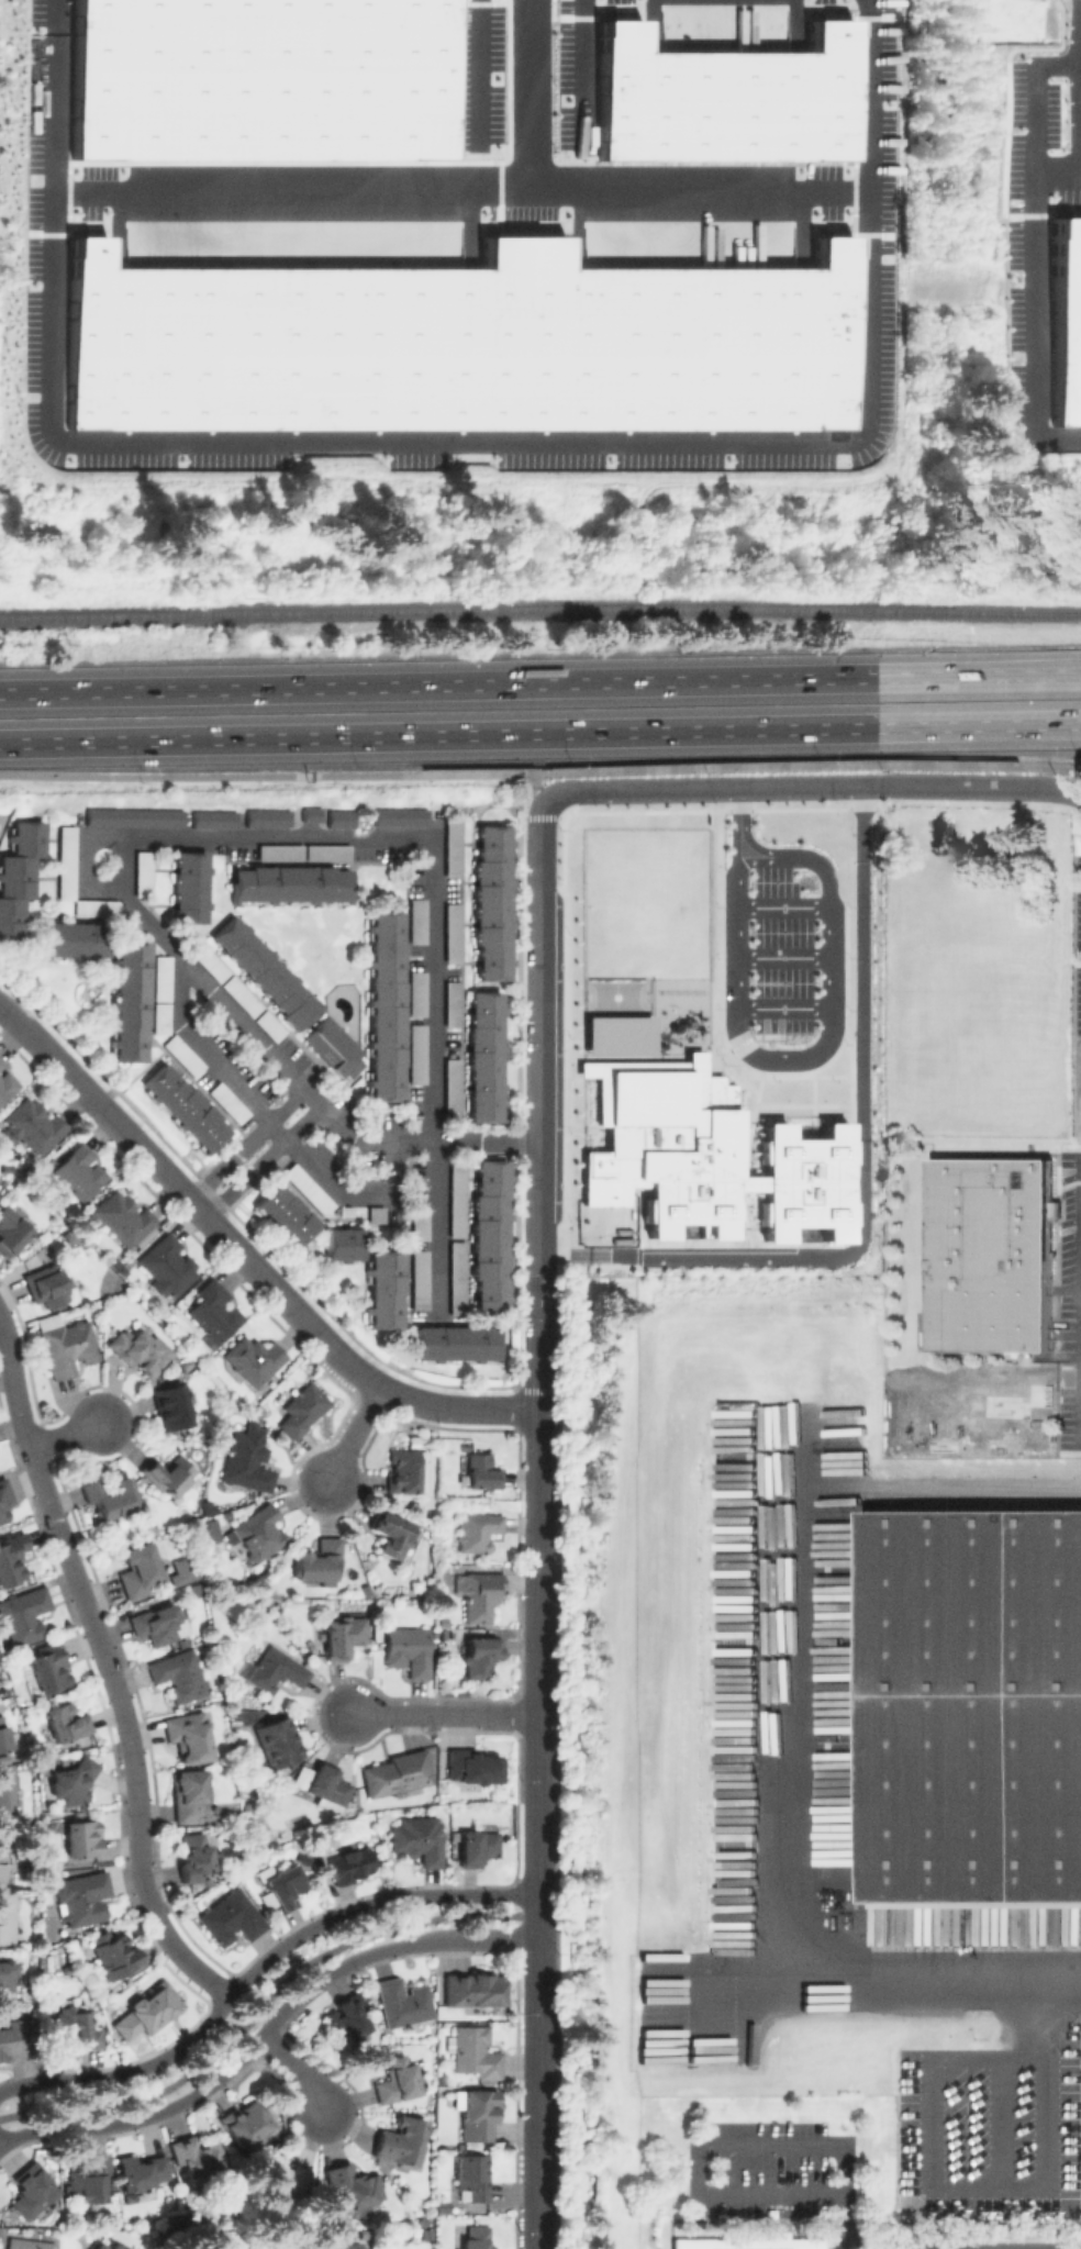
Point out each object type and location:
road: (1080, 54)
road: (479, 69)
building: (269, 82)
road: (1080, 89)
building: (735, 97)
road: (1035, 102)
road: (1080, 110)
road: (1080, 179)
road: (698, 196)
road: (388, 199)
road: (1035, 309)
building: (1066, 320)
building: (473, 342)
road: (459, 450)
railway: (539, 614)
road: (540, 681)
road: (540, 733)
road: (540, 770)
road: (969, 786)
road: (535, 787)
road: (698, 789)
road: (737, 806)
building: (309, 815)
building: (131, 817)
building: (398, 817)
building: (265, 819)
building: (212, 821)
building: (341, 822)
road: (345, 840)
building: (453, 848)
building: (327, 853)
building: (279, 854)
road: (779, 860)
building: (64, 864)
building: (15, 870)
building: (143, 876)
building: (288, 884)
building: (185, 887)
building: (490, 902)
building: (728, 905)
road: (782, 906)
building: (93, 909)
road: (151, 924)
building: (416, 924)
building: (126, 925)
building: (453, 934)
building: (605, 938)
road: (782, 957)
building: (205, 962)
building: (264, 969)
building: (160, 977)
building: (416, 992)
building: (239, 997)
park: (615, 997)
building: (450, 1001)
building: (385, 1006)
road: (783, 1006)
building: (127, 1009)
building: (805, 1009)
building: (845, 1009)
building: (157, 1018)
building: (269, 1026)
building: (616, 1034)
road: (537, 1036)
building: (335, 1047)
building: (416, 1053)
building: (484, 1054)
road: (814, 1054)
building: (181, 1055)
building: (1, 1060)
road: (278, 1062)
building: (761, 1064)
building: (826, 1064)
building: (8, 1088)
building: (452, 1089)
building: (227, 1102)
building: (182, 1109)
building: (32, 1125)
road: (281, 1135)
road: (470, 1139)
building: (700, 1154)
building: (79, 1170)
road: (861, 1176)
building: (305, 1188)
building: (457, 1199)
building: (378, 1213)
building: (281, 1214)
building: (121, 1217)
building: (420, 1224)
road: (439, 1227)
building: (11, 1229)
building: (489, 1236)
building: (343, 1245)
building: (992, 1250)
road: (245, 1256)
building: (168, 1266)
building: (457, 1278)
building: (420, 1279)
building: (45, 1283)
building: (385, 1288)
building: (213, 1309)
building: (455, 1343)
building: (63, 1345)
building: (137, 1350)
building: (250, 1356)
building: (169, 1407)
building: (302, 1409)
road: (68, 1434)
road: (352, 1437)
building: (246, 1460)
building: (404, 1471)
building: (480, 1472)
building: (167, 1473)
building: (3, 1492)
building: (108, 1492)
railway: (979, 1505)
building: (1, 1517)
building: (205, 1526)
building: (256, 1530)
building: (475, 1530)
building: (390, 1534)
building: (11, 1558)
building: (317, 1561)
building: (136, 1563)
building: (179, 1570)
building: (478, 1593)
building: (23, 1614)
building: (155, 1625)
building: (342, 1633)
building: (406, 1649)
building: (481, 1656)
building: (51, 1667)
road: (107, 1670)
building: (176, 1671)
building: (276, 1671)
building: (973, 1702)
road: (442, 1715)
building: (67, 1723)
building: (185, 1732)
building: (2, 1736)
building: (278, 1740)
road: (538, 1760)
building: (471, 1767)
building: (394, 1773)
building: (73, 1780)
building: (322, 1783)
building: (187, 1793)
building: (5, 1796)
building: (83, 1838)
building: (416, 1838)
building: (476, 1847)
building: (1, 1860)
building: (192, 1861)
building: (352, 1863)
building: (285, 1883)
road: (778, 1893)
building: (79, 1897)
building: (7, 1917)
building: (227, 1917)
street lamp: (503, 1950)
building: (114, 1952)
road: (256, 1963)
street lamp: (354, 1968)
building: (5, 1982)
building: (472, 1989)
building: (401, 2002)
road: (258, 2009)
building: (147, 2011)
building: (346, 2018)
street lamp: (198, 2020)
road: (266, 2027)
building: (74, 2028)
building: (18, 2038)
building: (473, 2051)
road: (296, 2069)
street lamp: (36, 2071)
building: (397, 2080)
street lamp: (354, 2111)
building: (479, 2113)
building: (246, 2122)
road: (980, 2122)
building: (400, 2138)
road: (715, 2140)
building: (199, 2161)
building: (138, 2172)
building: (280, 2179)
building: (471, 2180)
building: (86, 2182)
building: (352, 2186)
road: (966, 2186)
building: (27, 2194)
building: (443, 2207)
road: (839, 2222)
building: (425, 2234)
building: (475, 2237)
building: (745, 2242)
building: (27, 2244)
building: (336, 2245)
building: (102, 2246)

